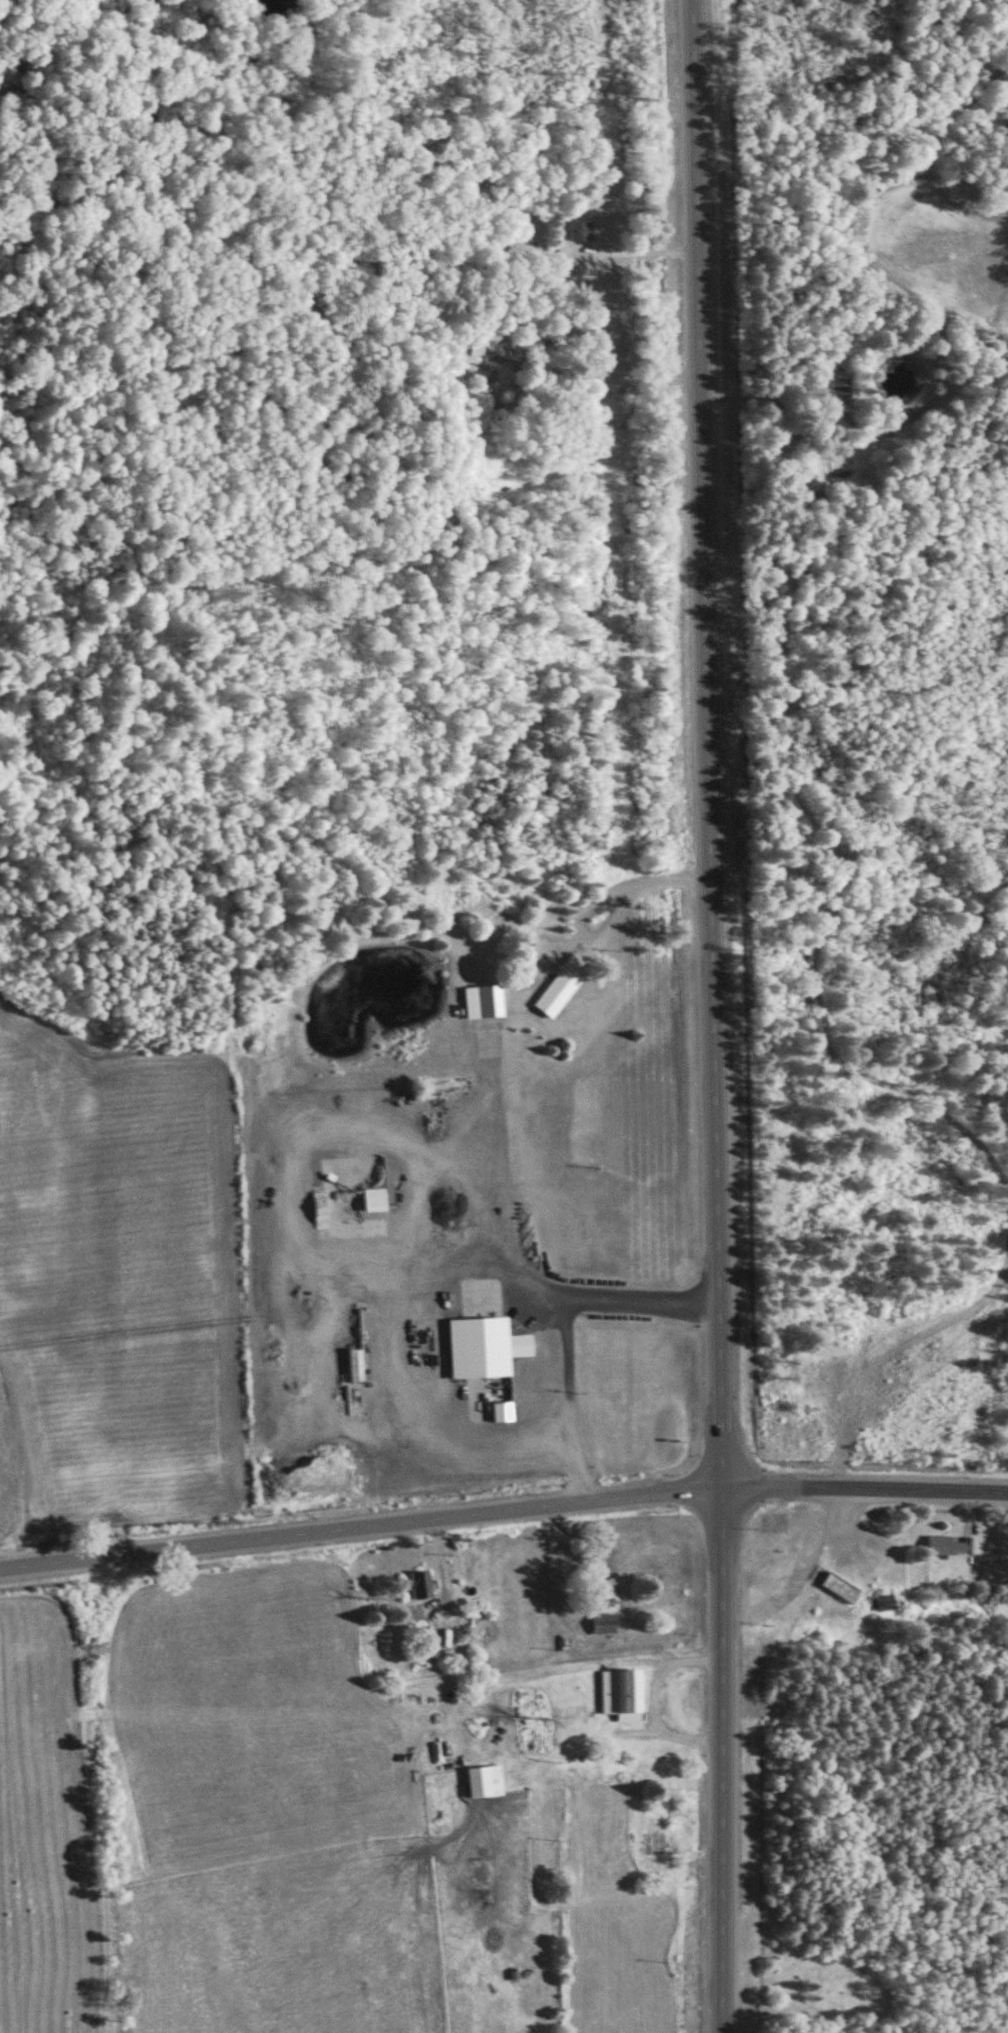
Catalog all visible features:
building: (581, 232)
building: (477, 345)
building: (842, 393)
building: (815, 471)
road: (197, 536)
road: (353, 980)
building: (564, 985)
building: (485, 1001)
road: (715, 1016)
building: (433, 1111)
building: (485, 1348)
road: (866, 1486)
road: (362, 1524)
building: (952, 1546)
building: (422, 1585)
building: (605, 1623)
building: (427, 1640)
building: (623, 1694)
building: (486, 1782)

